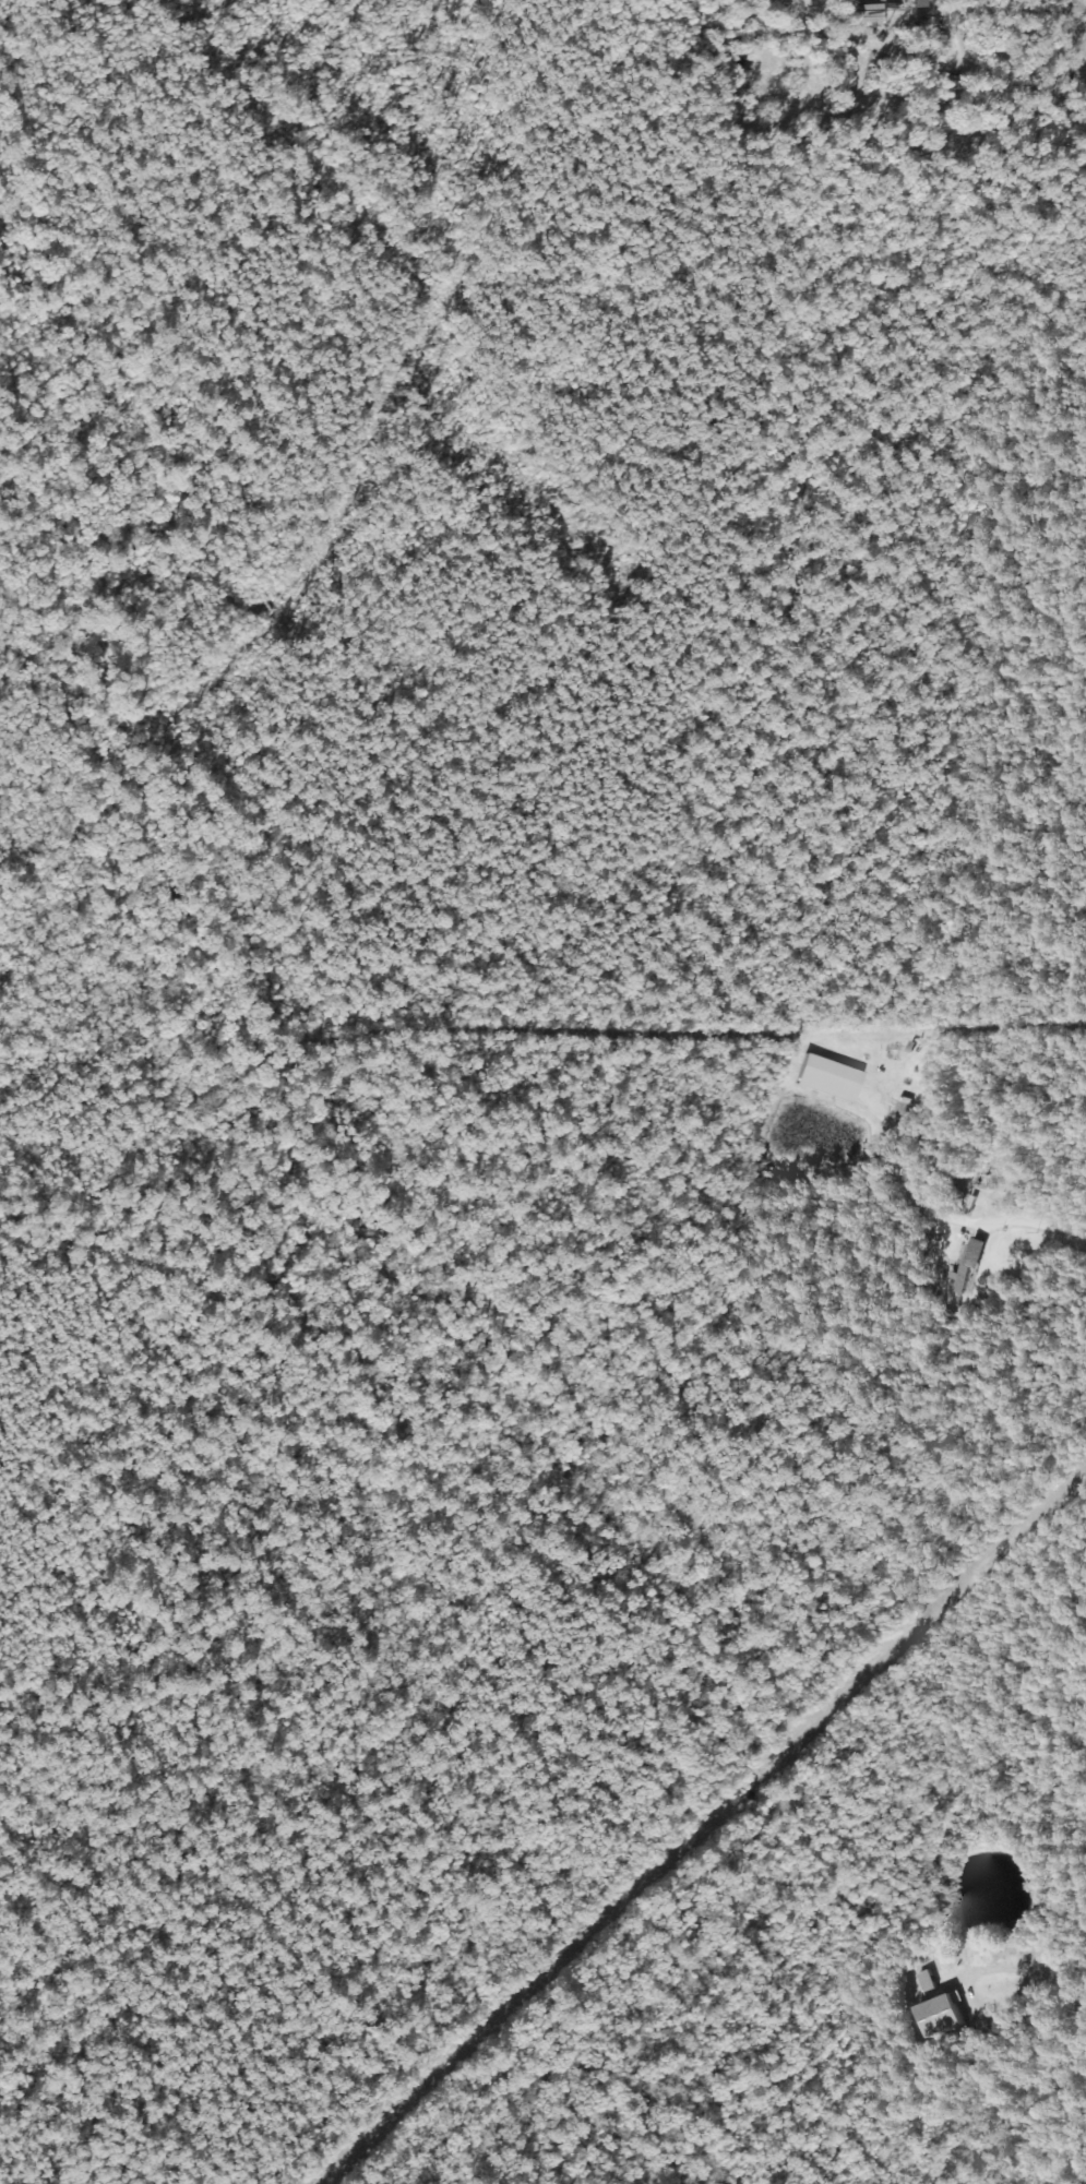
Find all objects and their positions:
building: (918, 3)
road: (997, 79)
building: (827, 1077)
road: (1039, 1216)
building: (923, 1980)
road: (965, 1985)
road: (1070, 1992)
building: (939, 2014)

